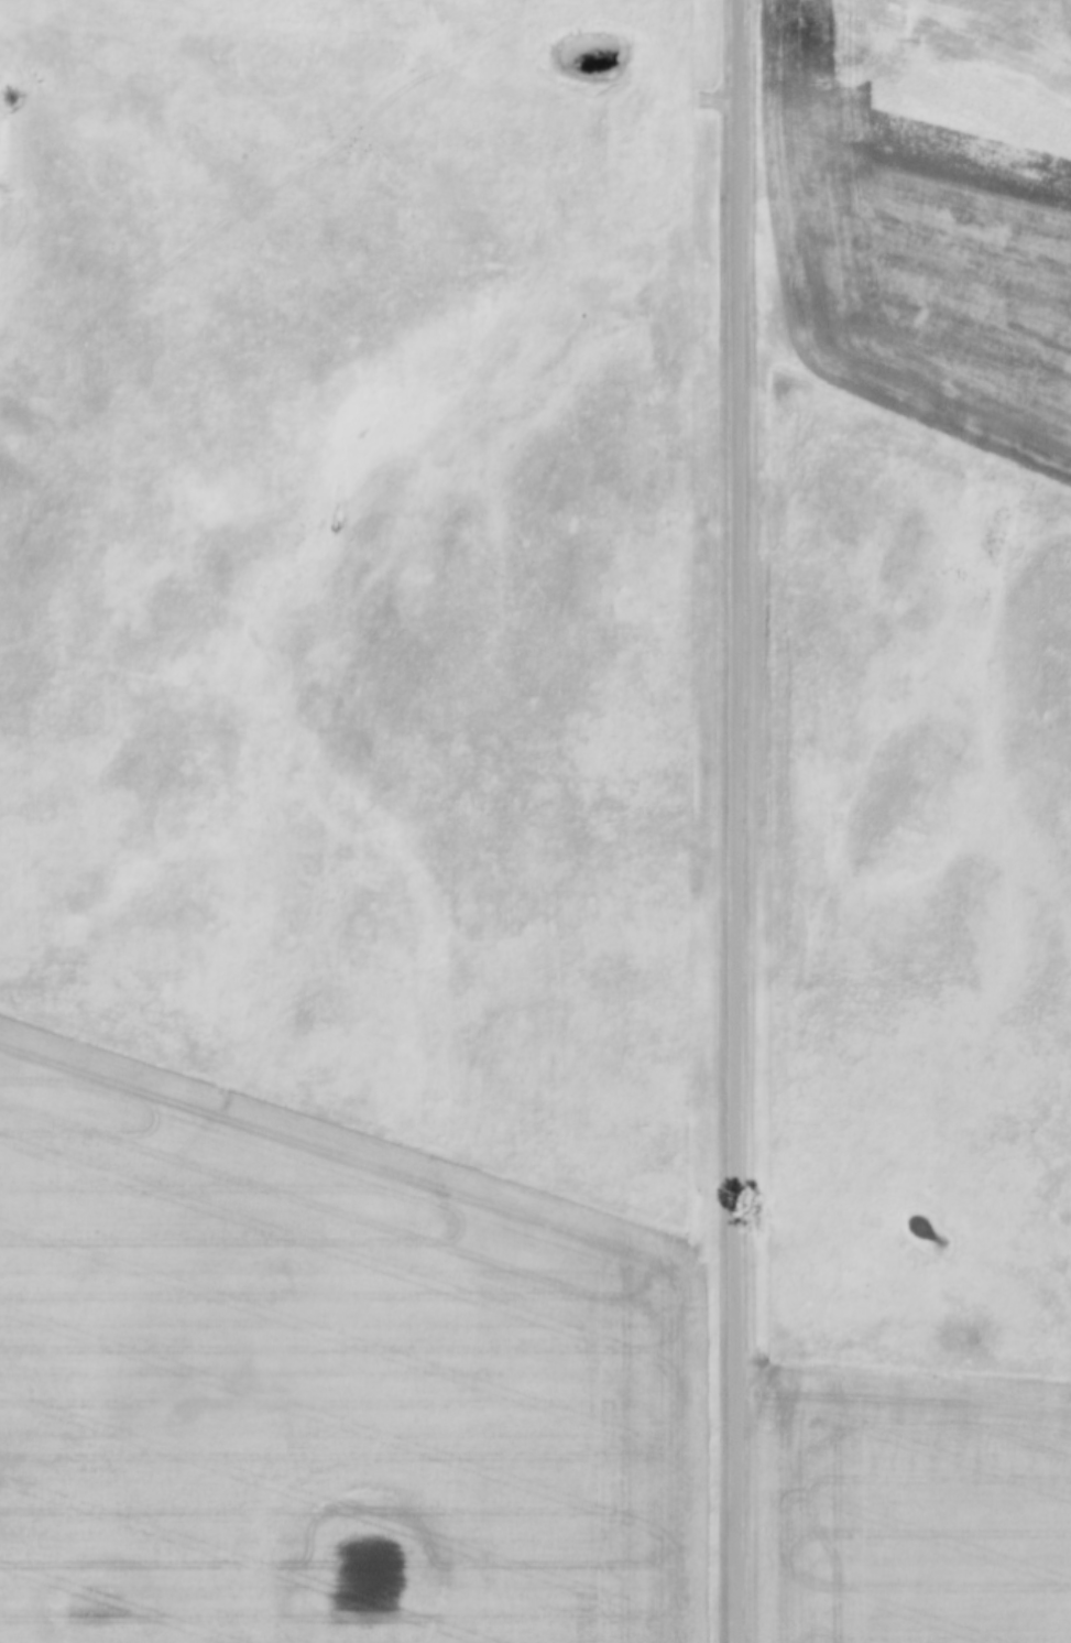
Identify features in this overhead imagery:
road: (742, 821)

